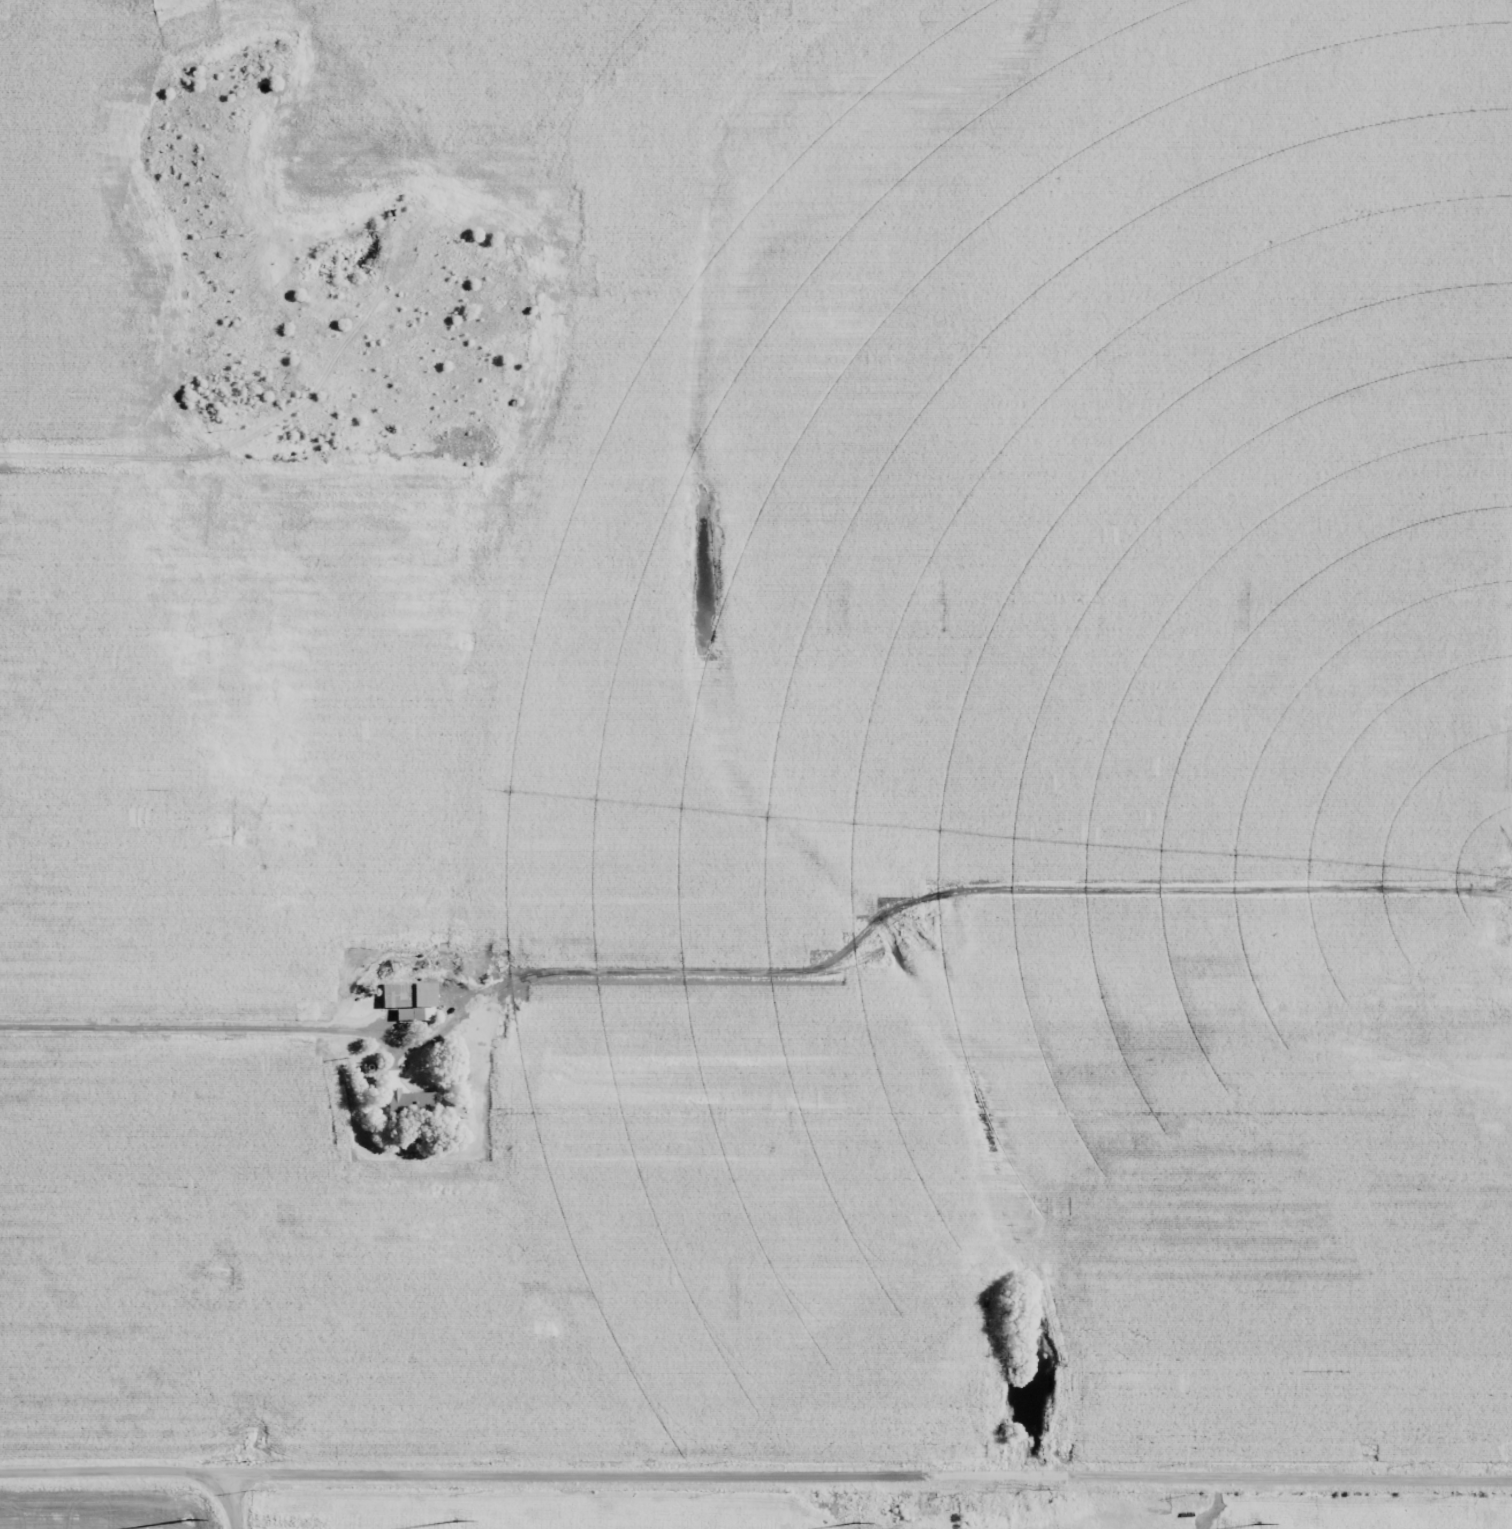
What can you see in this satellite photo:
building: (406, 1000)
road: (162, 1014)
road: (755, 1475)
power tower: (253, 1489)
power tower: (484, 1490)
power tower: (722, 1491)
road: (239, 1493)
power tower: (958, 1493)
power tower: (1193, 1494)
power tower: (1462, 1494)
road: (220, 1497)
power tower: (470, 1519)
power tower: (189, 1520)
power tower: (854, 1521)
power tower: (1253, 1524)

